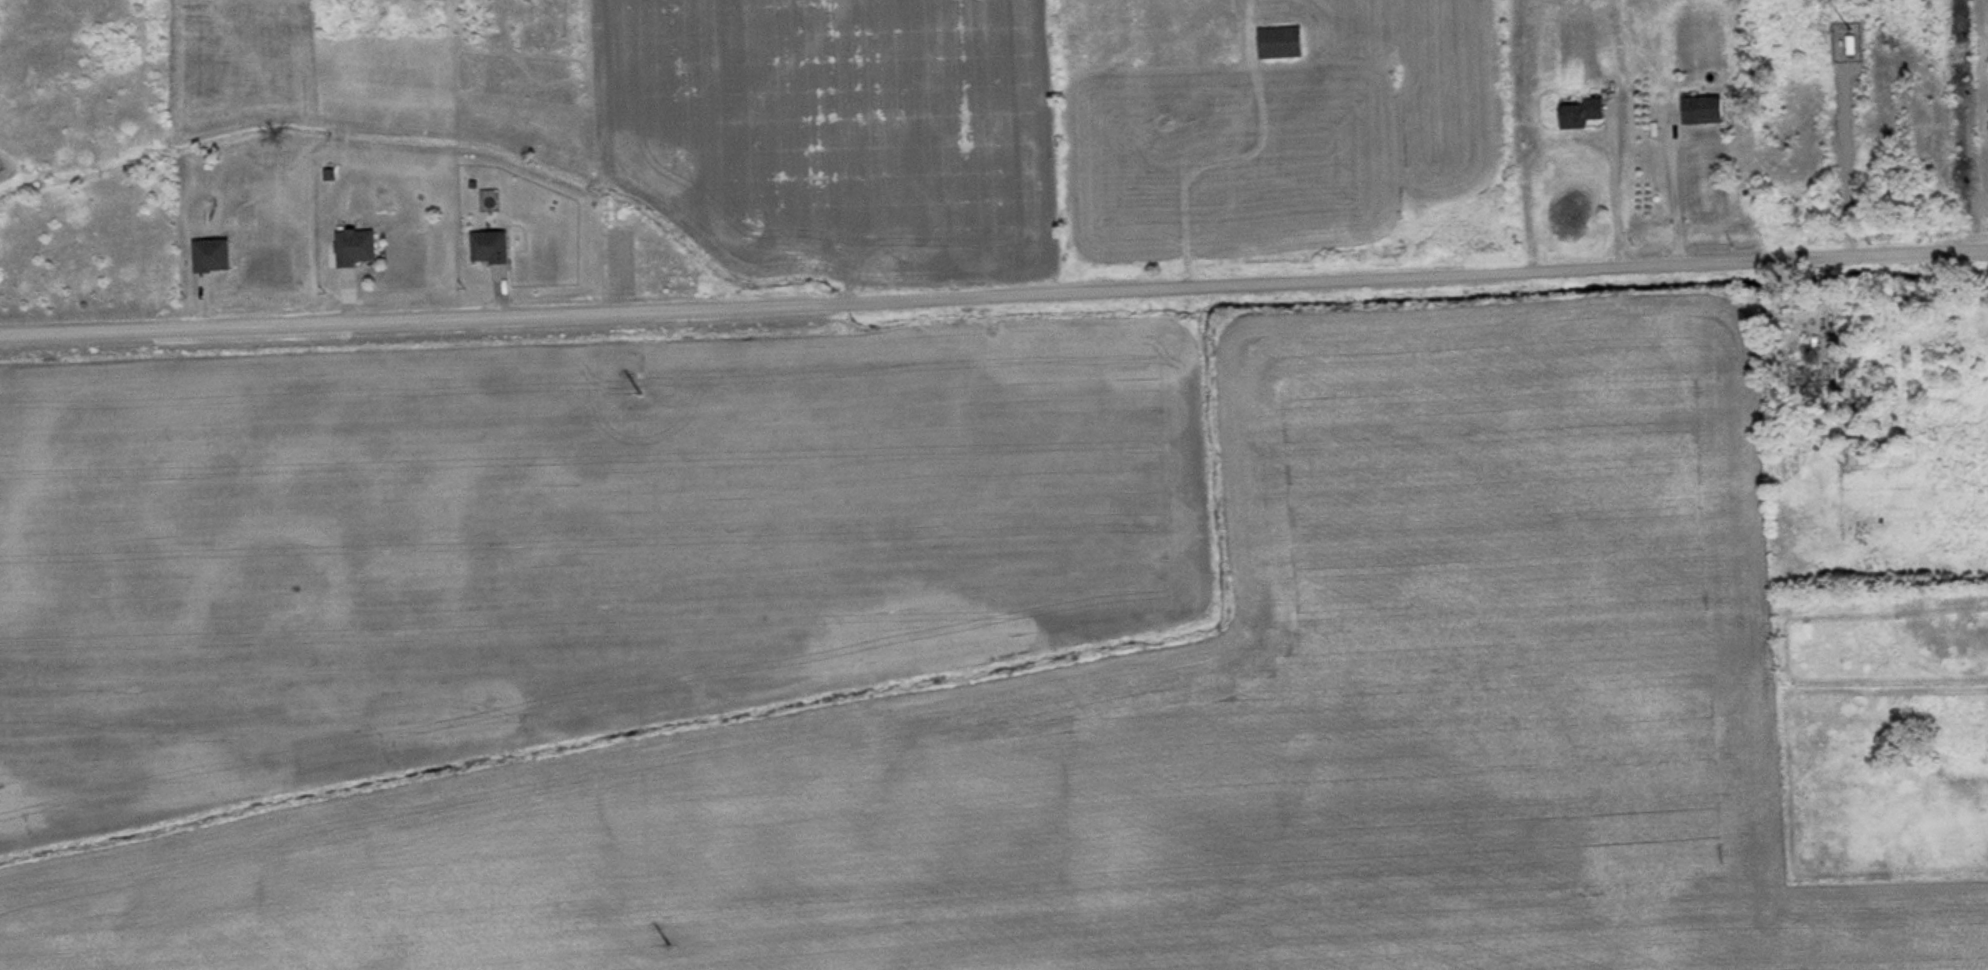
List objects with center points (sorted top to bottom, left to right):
building: (1284, 45)
building: (1857, 49)
building: (1709, 111)
building: (1584, 114)
building: (361, 250)
building: (495, 250)
building: (217, 258)
road: (993, 291)
building: (1814, 377)
power tower: (645, 394)
building: (1862, 454)
power tower: (673, 945)

